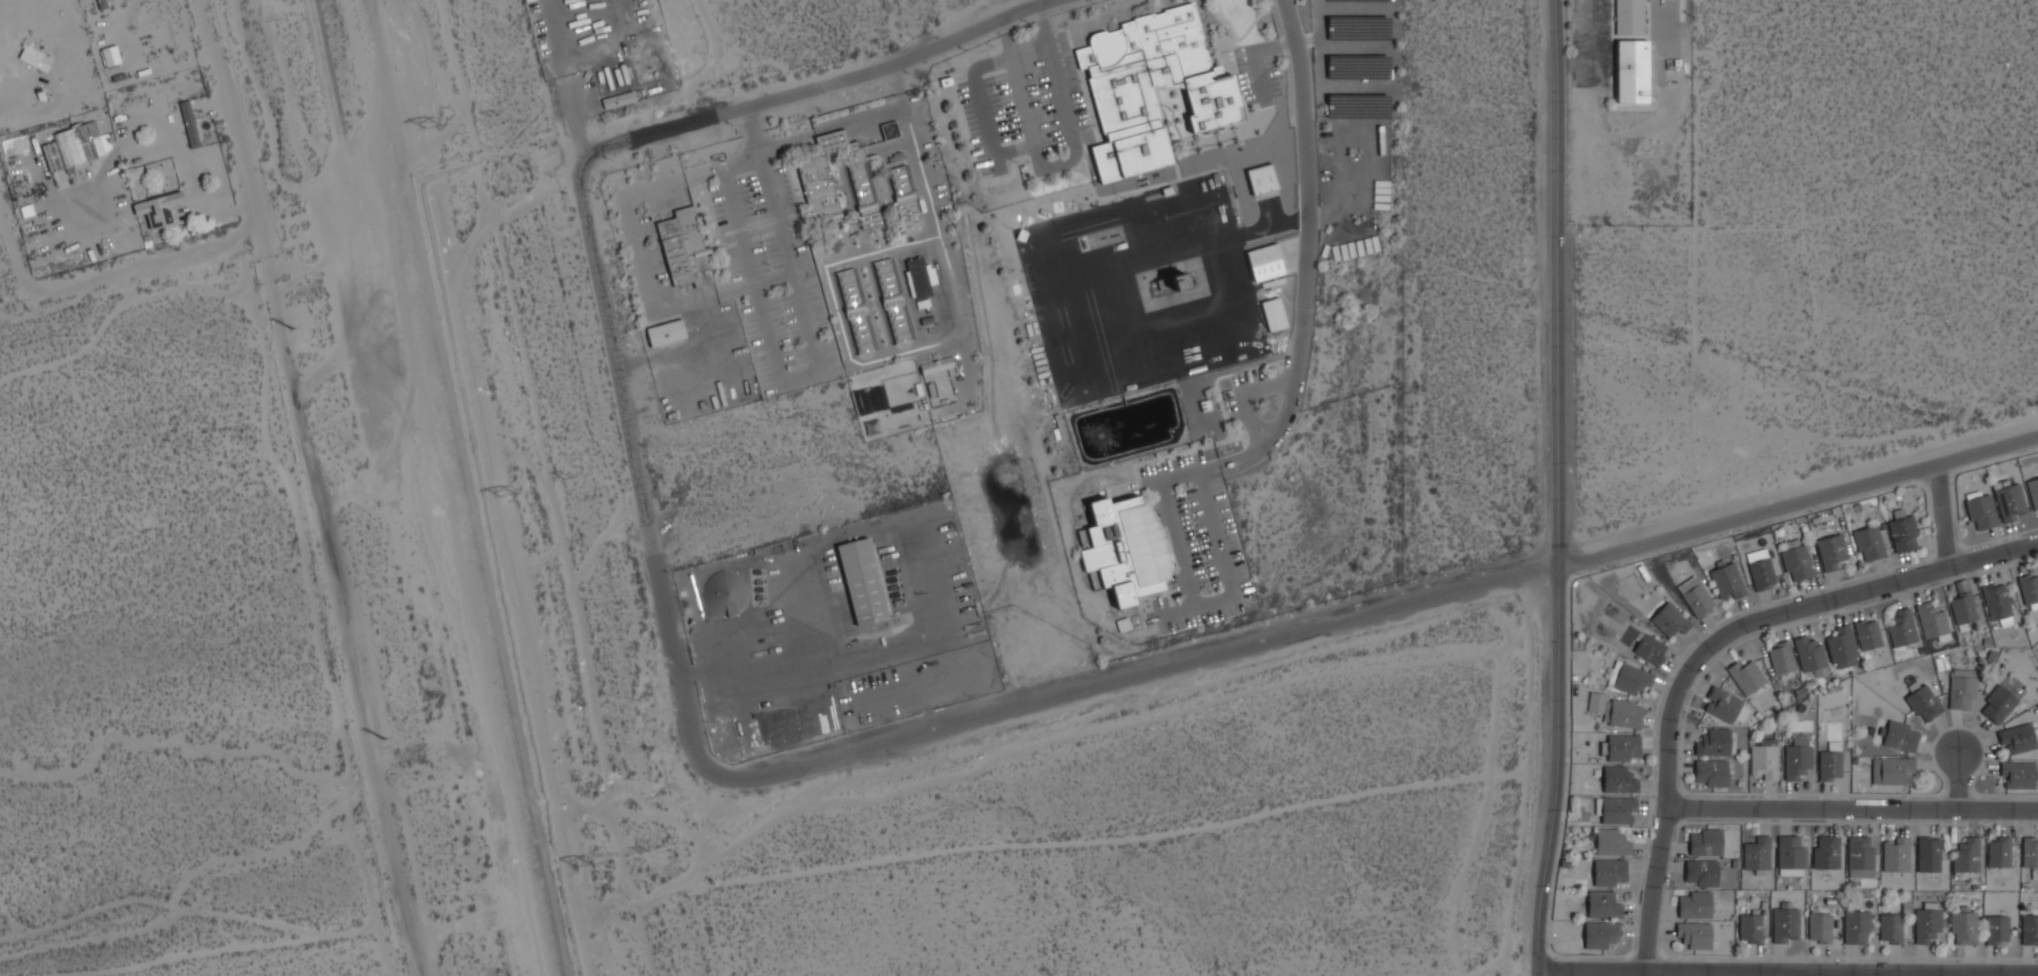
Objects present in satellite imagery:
building: (101, 4)
building: (1630, 16)
road: (1589, 32)
parking lot: (1589, 42)
building: (1173, 51)
building: (111, 56)
building: (35, 58)
road: (1573, 63)
building: (1631, 70)
building: (1119, 82)
road: (825, 84)
building: (617, 101)
building: (1212, 104)
power tower: (495, 119)
road: (746, 121)
road: (843, 123)
building: (188, 126)
power tower: (433, 127)
road: (226, 128)
building: (890, 131)
building: (15, 145)
building: (72, 147)
building: (1128, 154)
road: (188, 171)
building: (1262, 179)
building: (836, 181)
building: (907, 200)
building: (159, 213)
building: (686, 248)
road: (1305, 252)
building: (1265, 262)
parking lot: (774, 277)
building: (920, 278)
road: (89, 283)
building: (1171, 288)
building: (892, 301)
building: (856, 311)
building: (1274, 314)
power tower: (294, 330)
building: (668, 333)
road: (795, 377)
road: (634, 473)
power tower: (566, 478)
road: (1559, 488)
power tower: (509, 492)
building: (2033, 492)
road: (1798, 499)
building: (2009, 502)
road: (1945, 510)
building: (1980, 510)
building: (1903, 534)
building: (1869, 543)
building: (1129, 548)
building: (1831, 552)
building: (1797, 563)
building: (1760, 569)
building: (1727, 581)
building: (866, 582)
road: (1858, 591)
building: (2029, 592)
building: (724, 596)
building: (1695, 597)
building: (1998, 605)
building: (1963, 608)
building: (1670, 620)
building: (1931, 621)
building: (1902, 629)
building: (1867, 635)
building: (1842, 648)
building: (1650, 649)
building: (1810, 656)
building: (1781, 658)
building: (1746, 677)
road: (1136, 678)
building: (1632, 679)
building: (1961, 689)
building: (1596, 702)
building: (1923, 703)
building: (1722, 705)
building: (1998, 705)
building: (1624, 714)
building: (1900, 736)
power tower: (384, 738)
building: (2017, 739)
building: (1713, 743)
building: (1797, 759)
building: (1764, 761)
building: (1830, 762)
building: (1892, 771)
building: (1711, 773)
building: (2018, 775)
building: (1619, 780)
road: (1958, 782)
road: (1852, 809)
building: (1617, 810)
road: (1665, 819)
building: (1611, 842)
building: (1706, 843)
power tower: (642, 853)
building: (1826, 853)
building: (1999, 853)
building: (1757, 855)
building: (1790, 855)
building: (1895, 855)
building: (1928, 855)
building: (2030, 855)
building: (1860, 857)
power tower: (586, 868)
building: (1610, 872)
building: (1702, 873)
building: (1603, 905)
building: (1695, 905)
building: (1785, 924)
building: (1963, 926)
building: (1856, 927)
building: (1751, 928)
building: (1820, 928)
building: (1890, 928)
building: (2030, 928)
building: (1996, 929)
building: (1601, 934)
building: (1695, 935)
road: (1591, 967)
road: (1842, 969)
road: (1818, 972)

